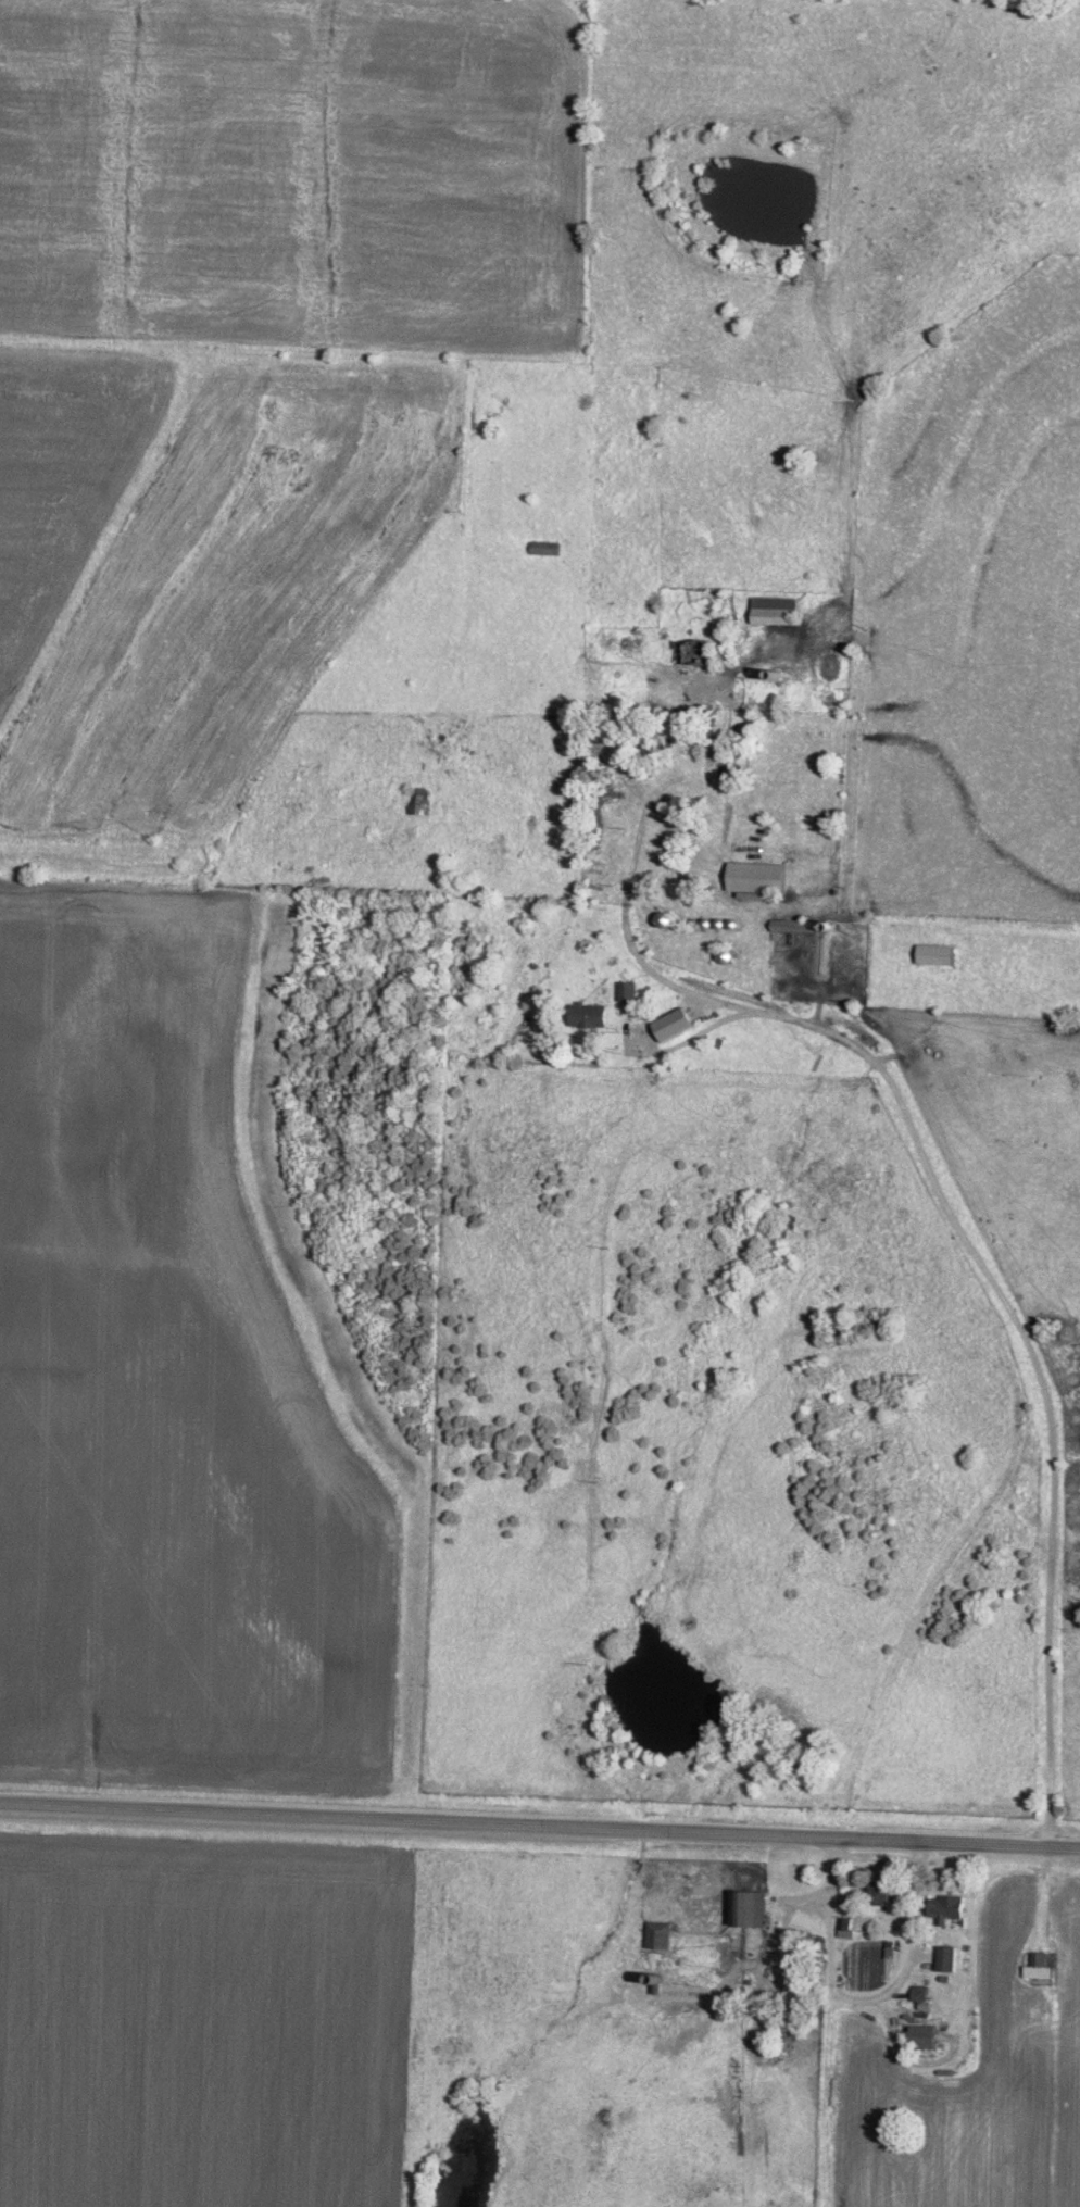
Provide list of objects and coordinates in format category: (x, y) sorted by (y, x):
building: (778, 609)
building: (762, 875)
building: (939, 952)
building: (629, 988)
building: (593, 1013)
building: (677, 1021)
road: (996, 1282)
road: (540, 1824)
building: (754, 1906)
building: (947, 1906)
building: (846, 1924)
building: (660, 1932)
building: (947, 1956)
building: (1040, 1964)
road: (863, 2002)
building: (928, 2034)

